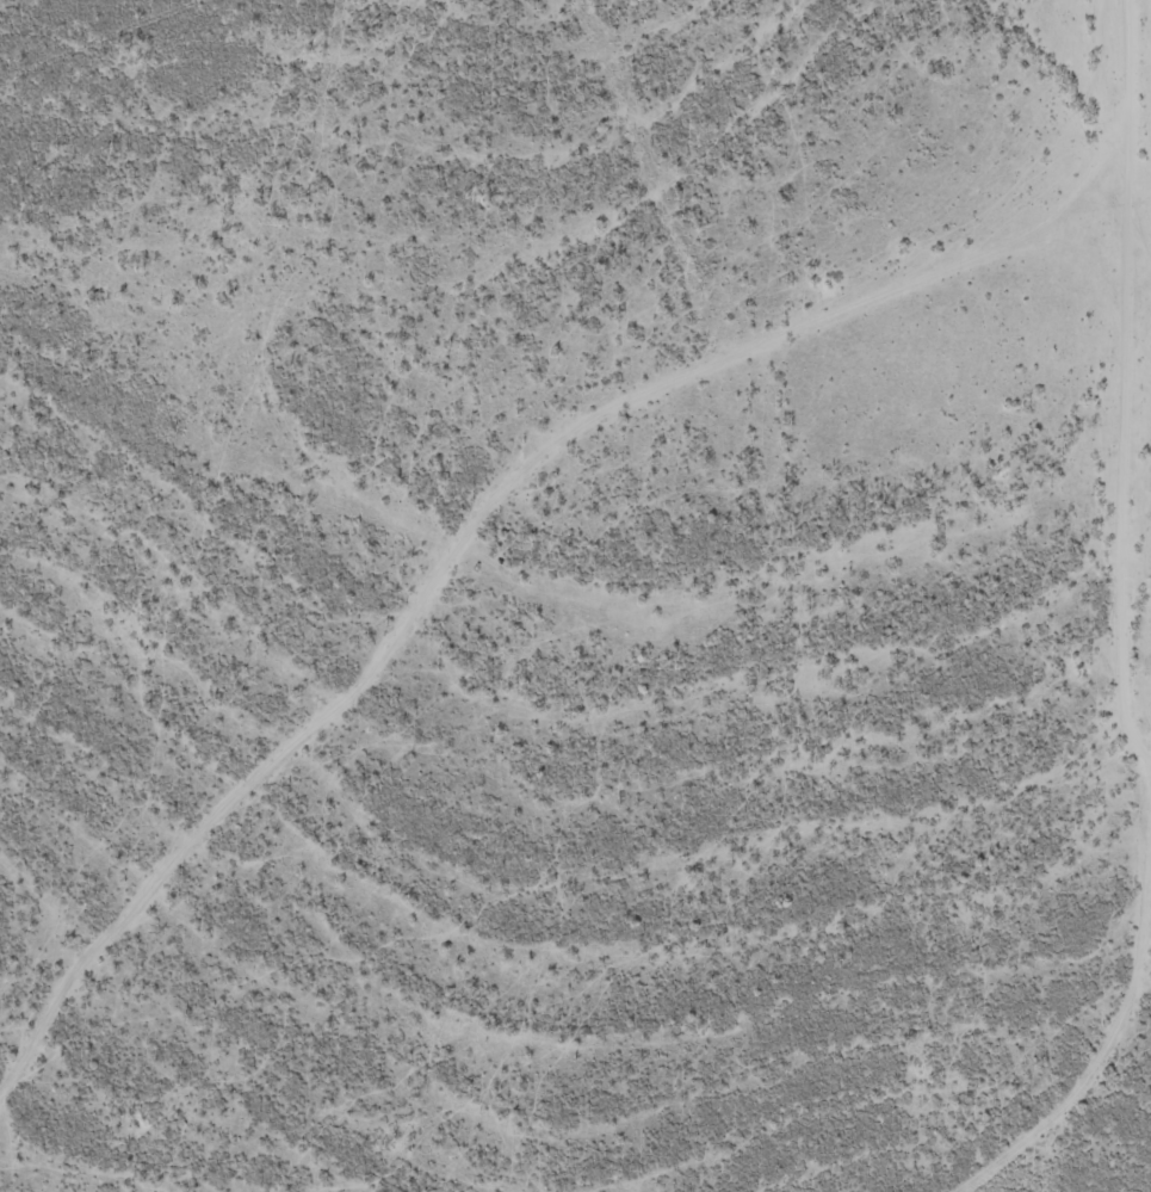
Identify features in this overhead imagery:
road: (1133, 371)

